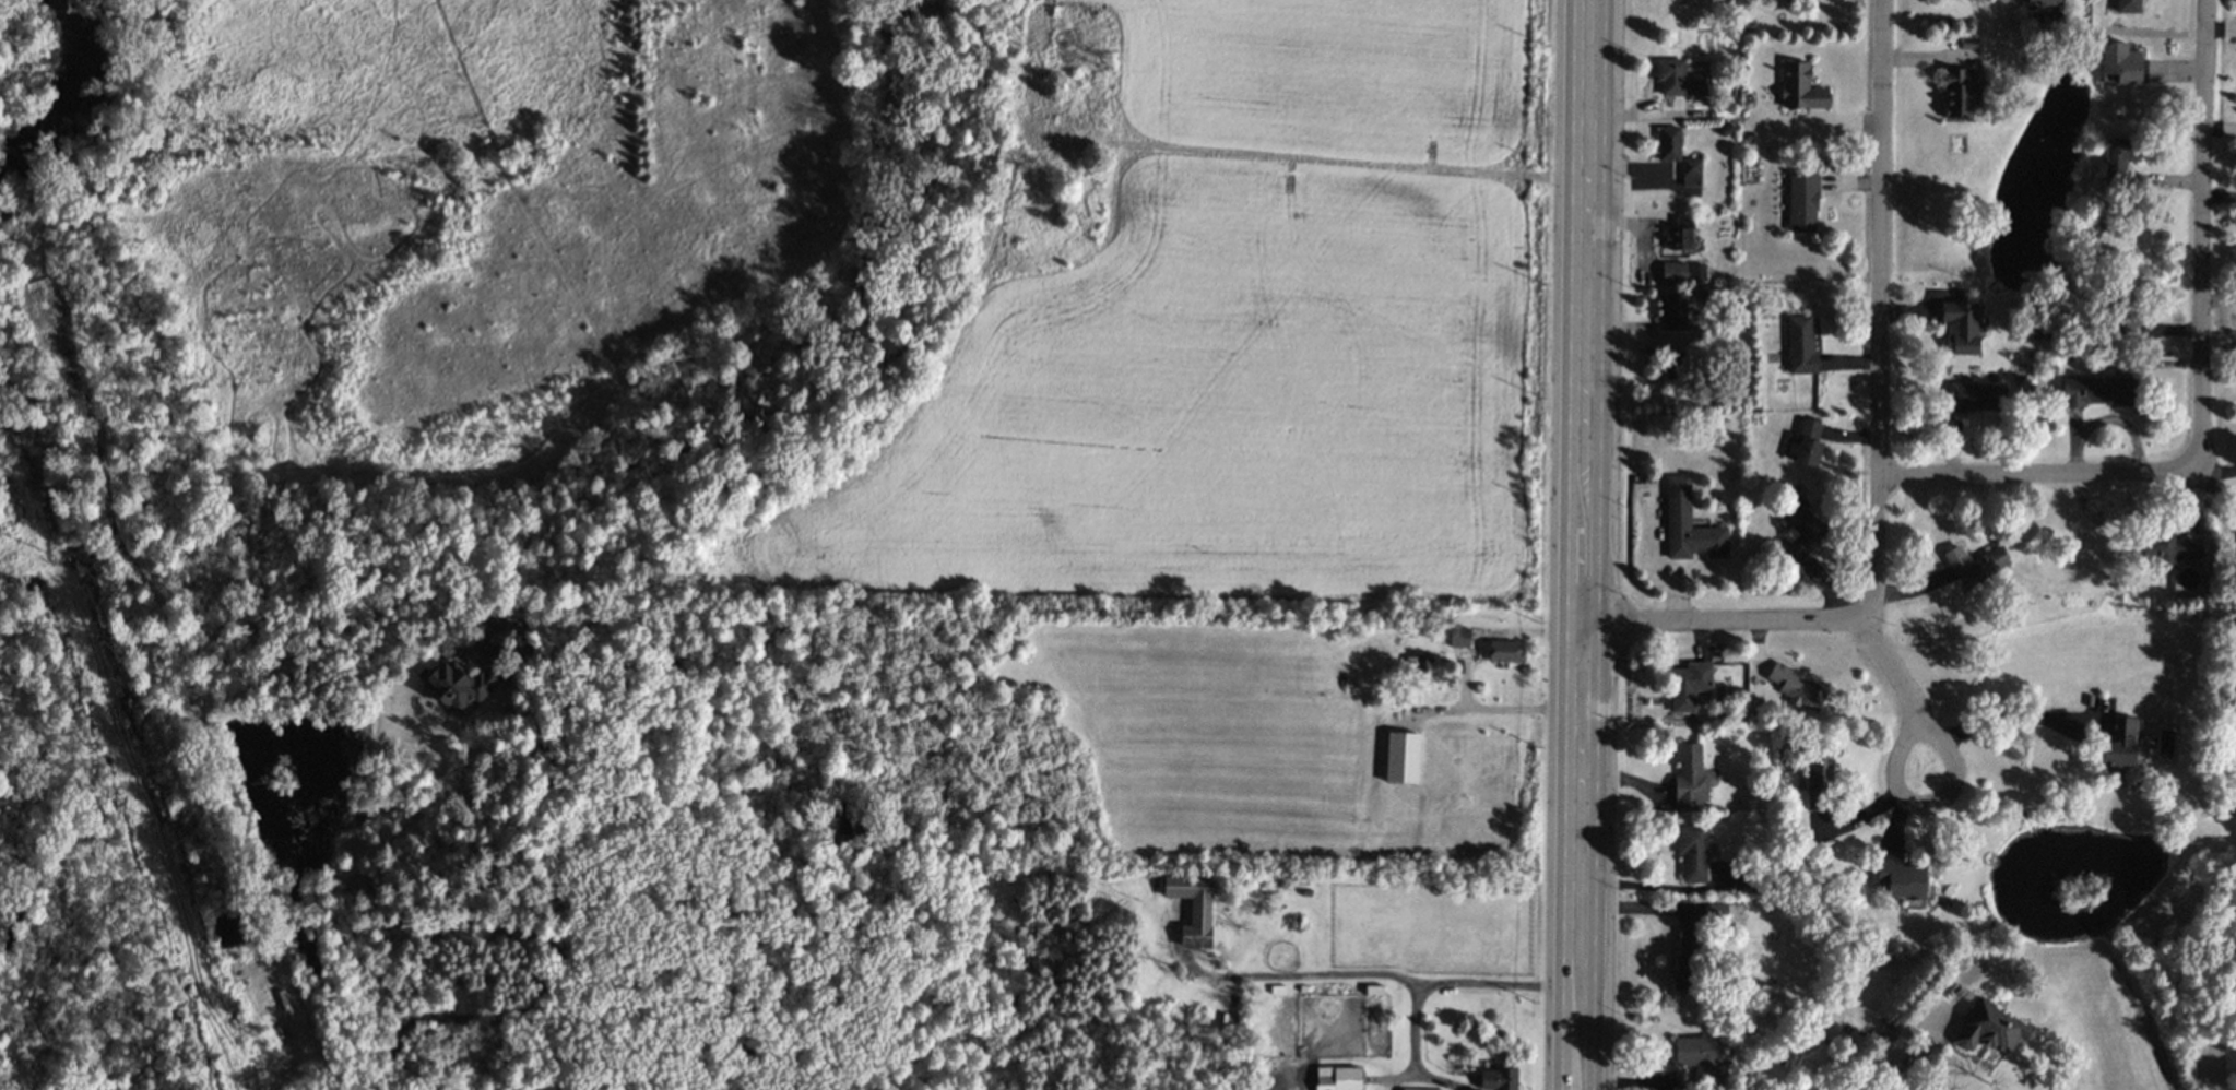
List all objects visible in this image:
building: (2043, 4)
building: (2128, 5)
building: (2119, 62)
building: (1670, 76)
building: (1700, 84)
building: (1800, 87)
river: (58, 92)
building: (1961, 93)
building: (1668, 143)
building: (2118, 157)
building: (1691, 173)
building: (1802, 202)
building: (1679, 234)
road: (2202, 235)
building: (1682, 272)
building: (1670, 311)
road: (1879, 318)
building: (1961, 327)
crop: (1233, 340)
building: (1800, 344)
building: (2097, 391)
building: (1973, 398)
building: (1809, 445)
road: (2038, 474)
building: (1688, 525)
building: (1800, 533)
road: (1582, 544)
building: (2168, 548)
building: (2233, 549)
power tower: (44, 554)
building: (1974, 564)
road: (1719, 621)
building: (1458, 637)
building: (1504, 651)
building: (1418, 665)
building: (460, 684)
building: (1688, 685)
building: (1797, 688)
road: (1902, 692)
road: (1500, 707)
road: (2008, 714)
road: (203, 720)
building: (2119, 744)
building: (1401, 757)
building: (1689, 779)
building: (1819, 780)
road: (1876, 808)
building: (1691, 853)
building: (1900, 876)
building: (1192, 907)
building: (1724, 915)
road: (555, 964)
road: (1380, 972)
road: (1412, 1026)
building: (1989, 1028)
road: (1898, 1040)
building: (1699, 1058)
building: (1337, 1078)
building: (1498, 1079)
building: (1403, 1089)

